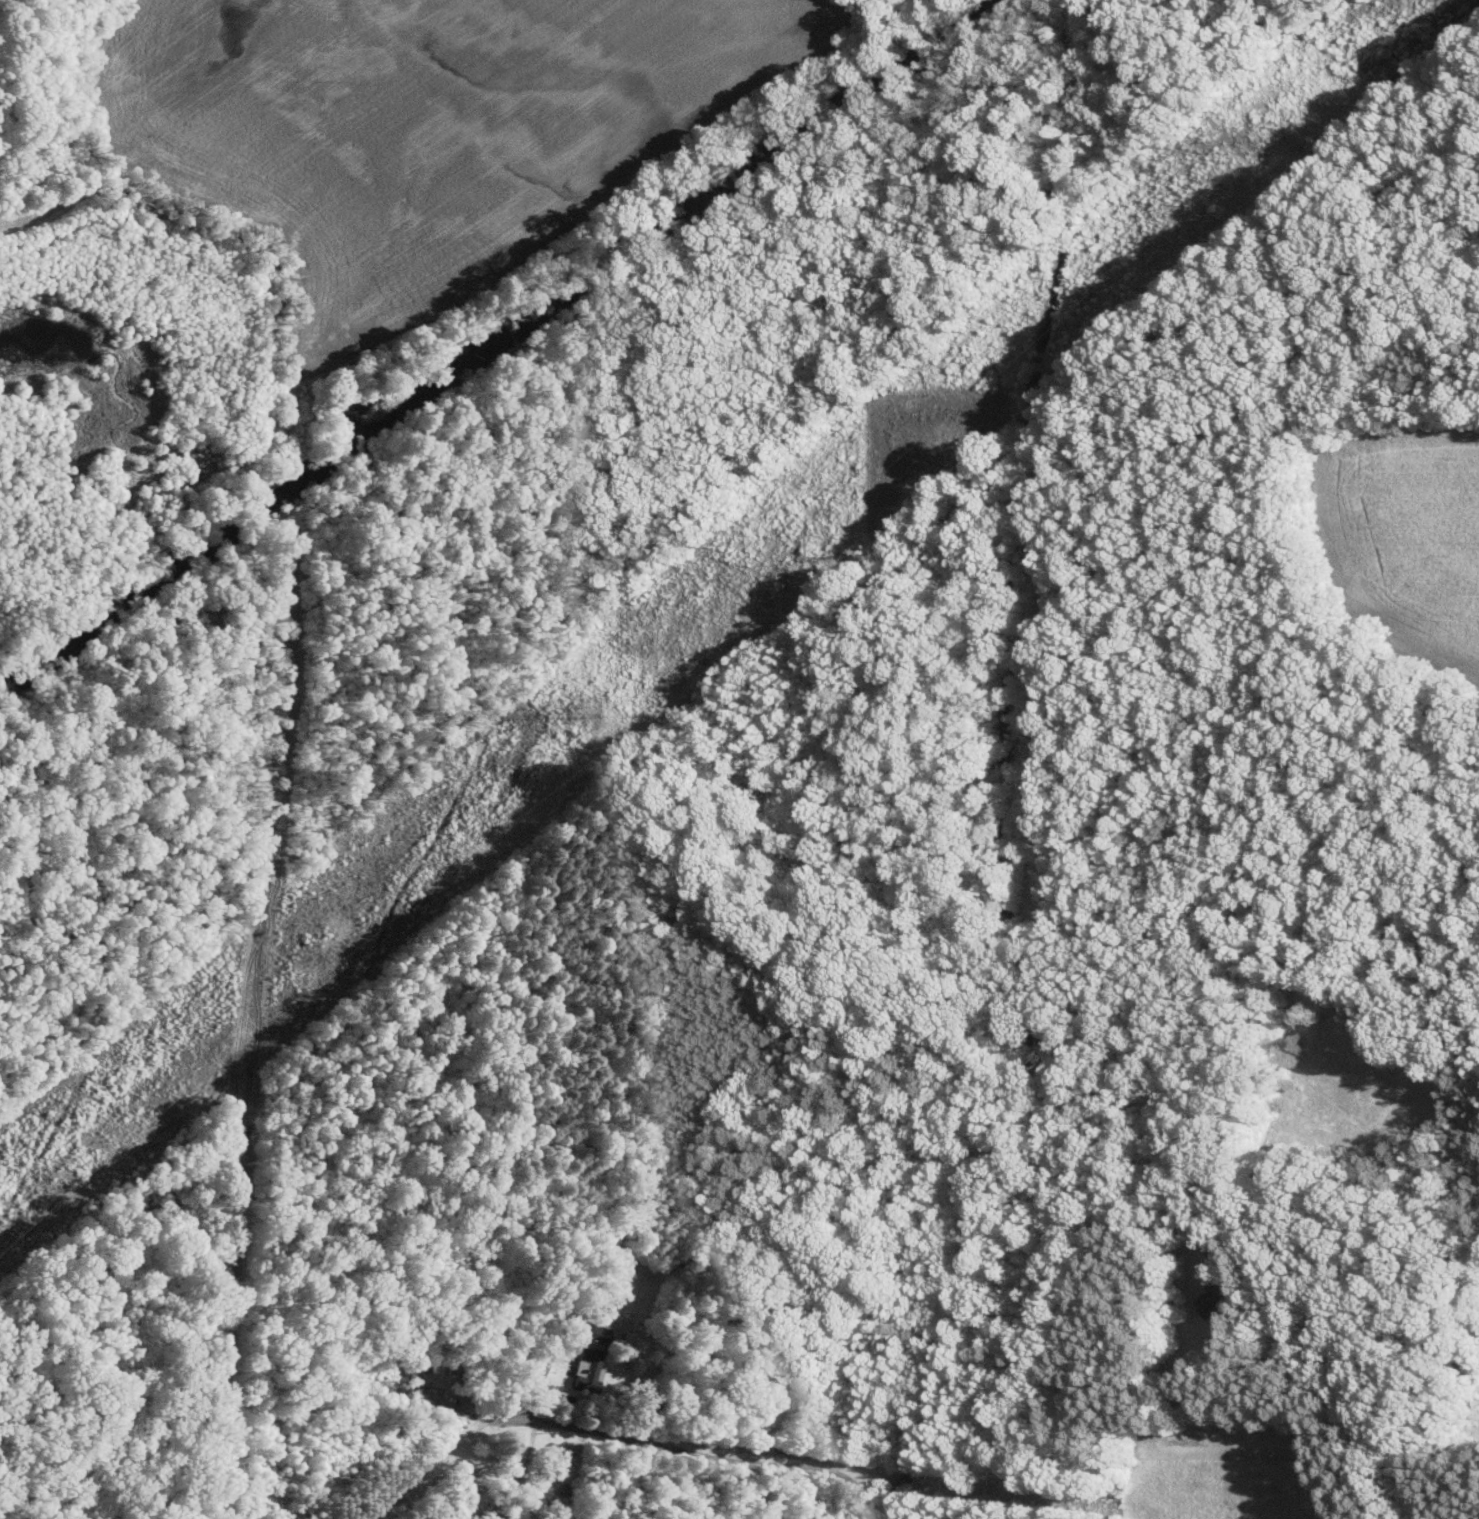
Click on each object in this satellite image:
power tower: (1271, 139)
power tower: (584, 719)
building: (1210, 1306)
road: (1327, 1343)
building: (584, 1355)
road: (726, 1458)

